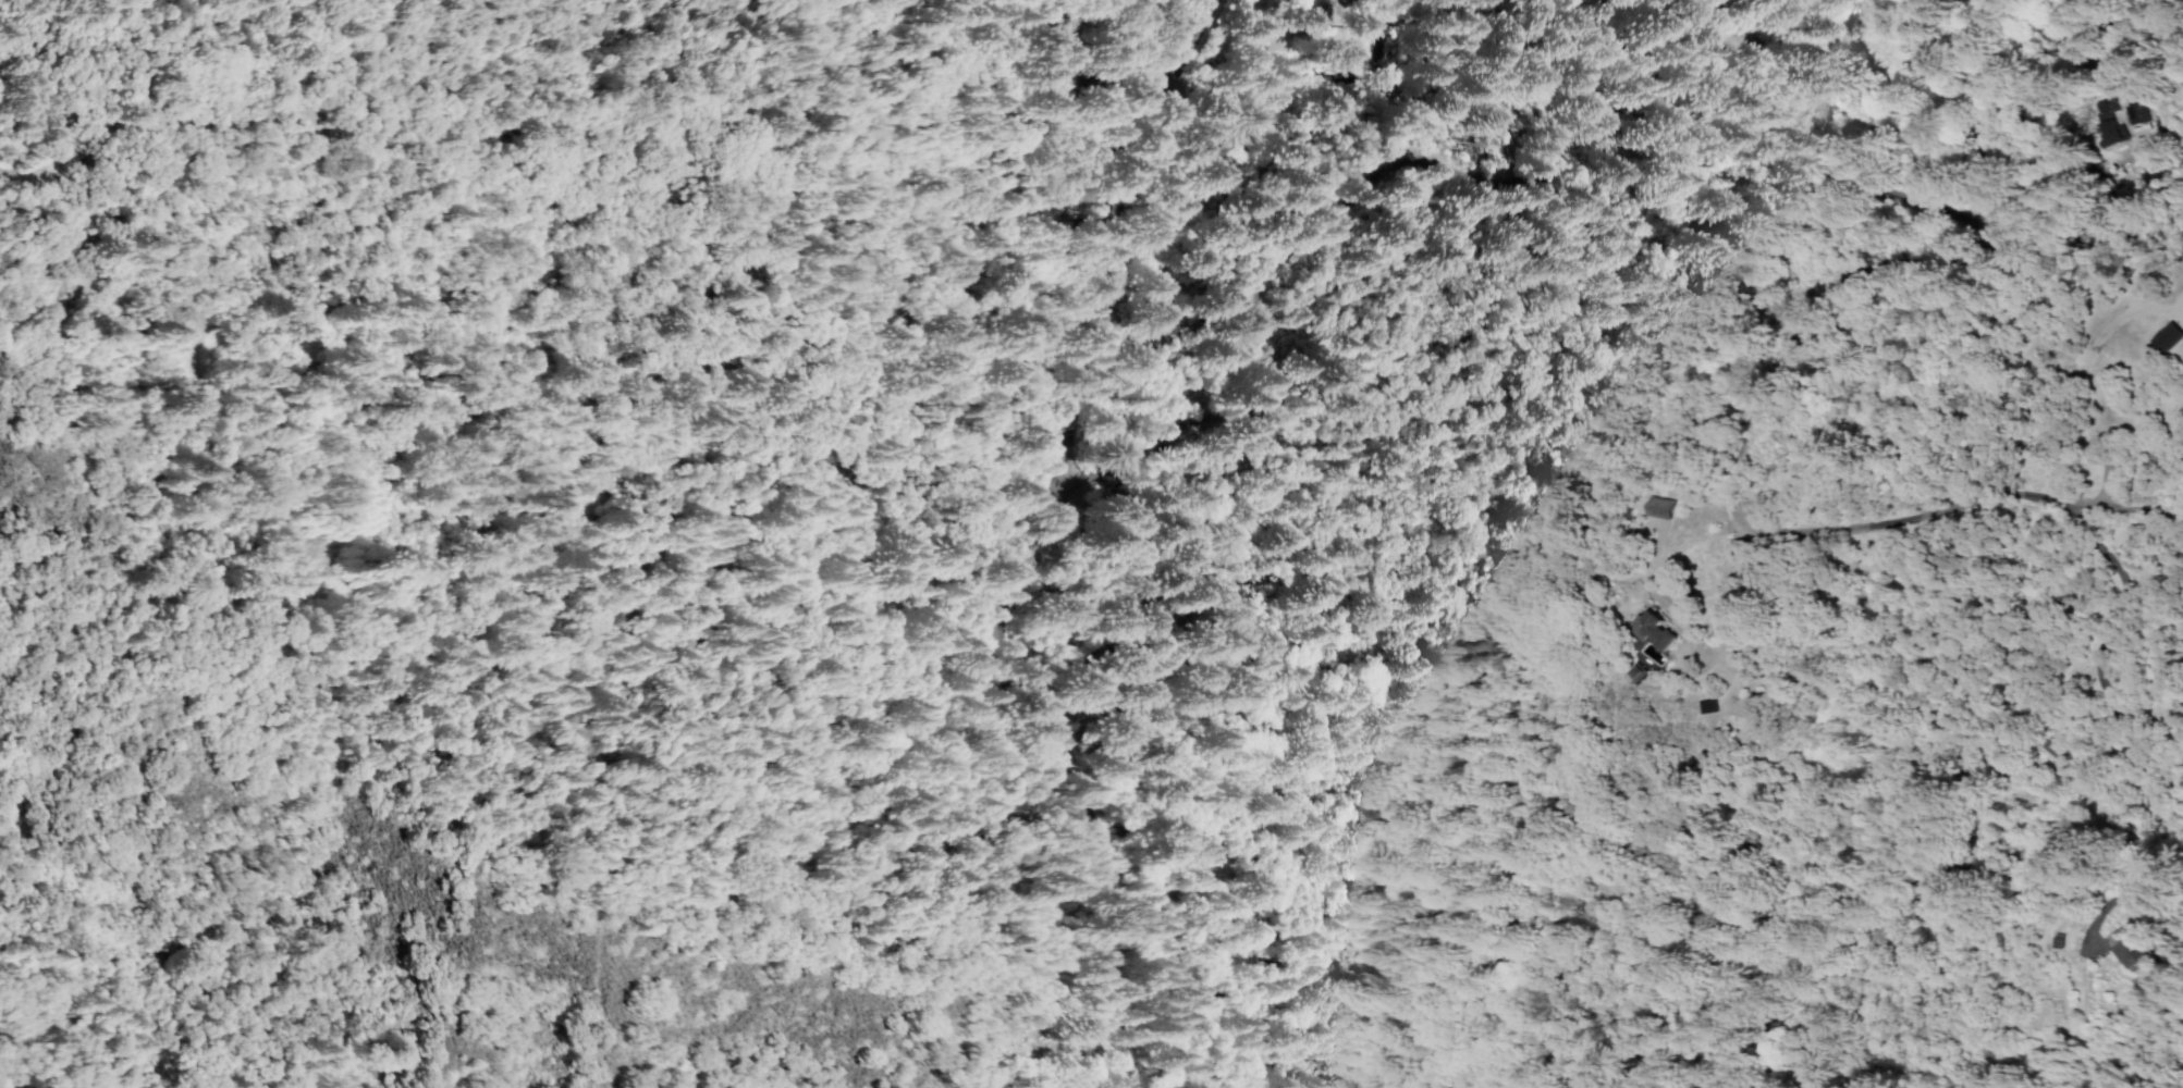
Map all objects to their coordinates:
building: (2121, 115)
building: (2090, 124)
road: (1176, 137)
road: (2008, 210)
road: (1879, 240)
road: (1137, 299)
building: (2166, 338)
road: (2083, 369)
road: (1212, 442)
road: (1127, 465)
building: (1656, 507)
road: (1669, 526)
crop: (2121, 616)
road: (2109, 620)
building: (1653, 630)
road: (1056, 703)
building: (2039, 749)
road: (1753, 751)
road: (1713, 790)
building: (2125, 951)

